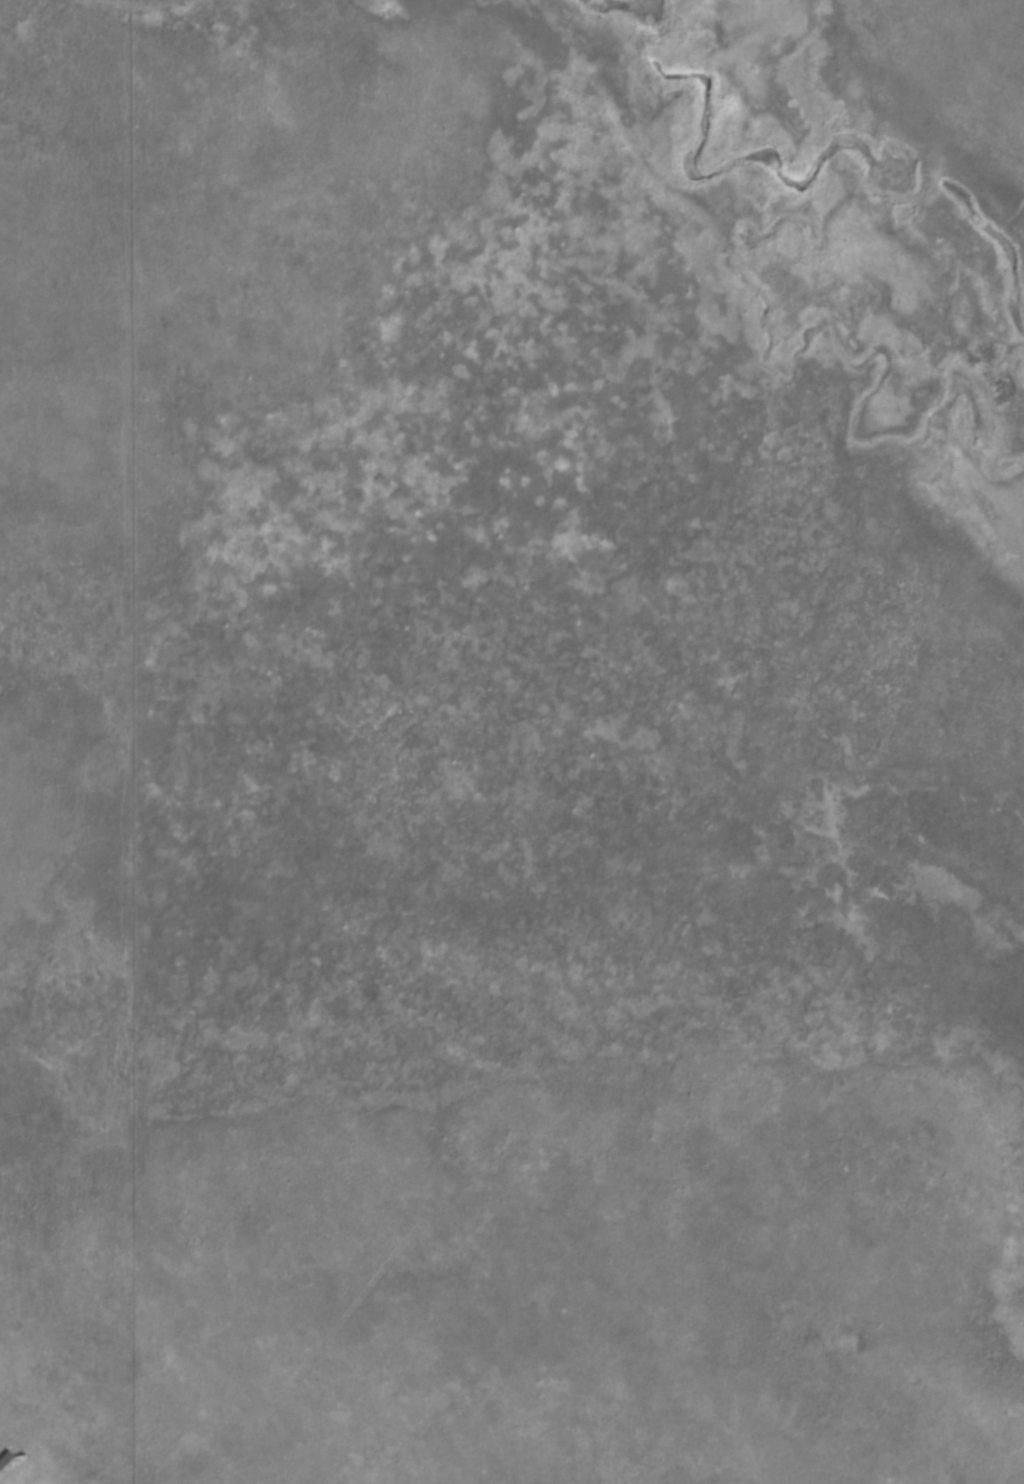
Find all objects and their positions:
building: (5, 1459)

